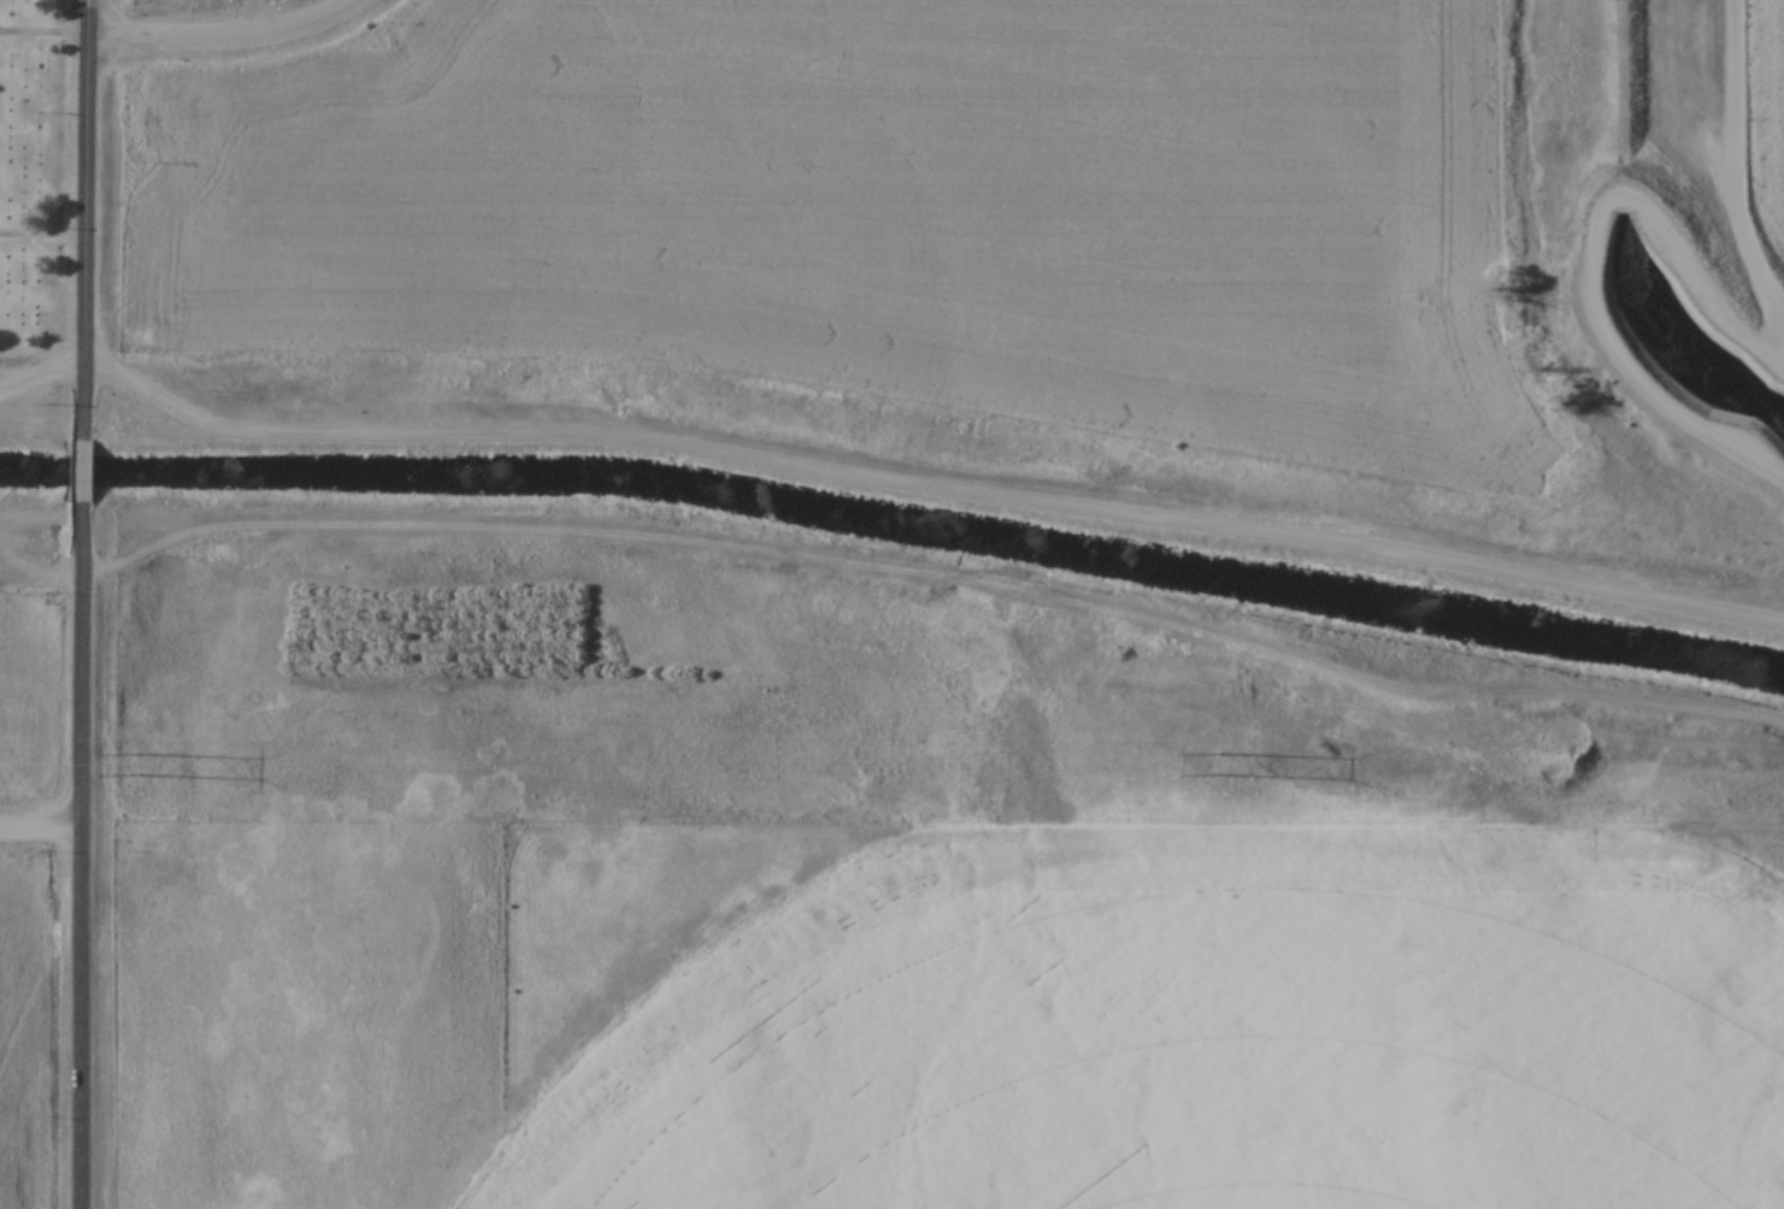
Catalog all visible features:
road: (225, 29)
road: (1733, 165)
park: (36, 178)
road: (89, 220)
road: (1592, 250)
road: (88, 472)
road: (882, 473)
power tower: (1223, 765)
power tower: (139, 766)
road: (41, 820)
road: (83, 856)

